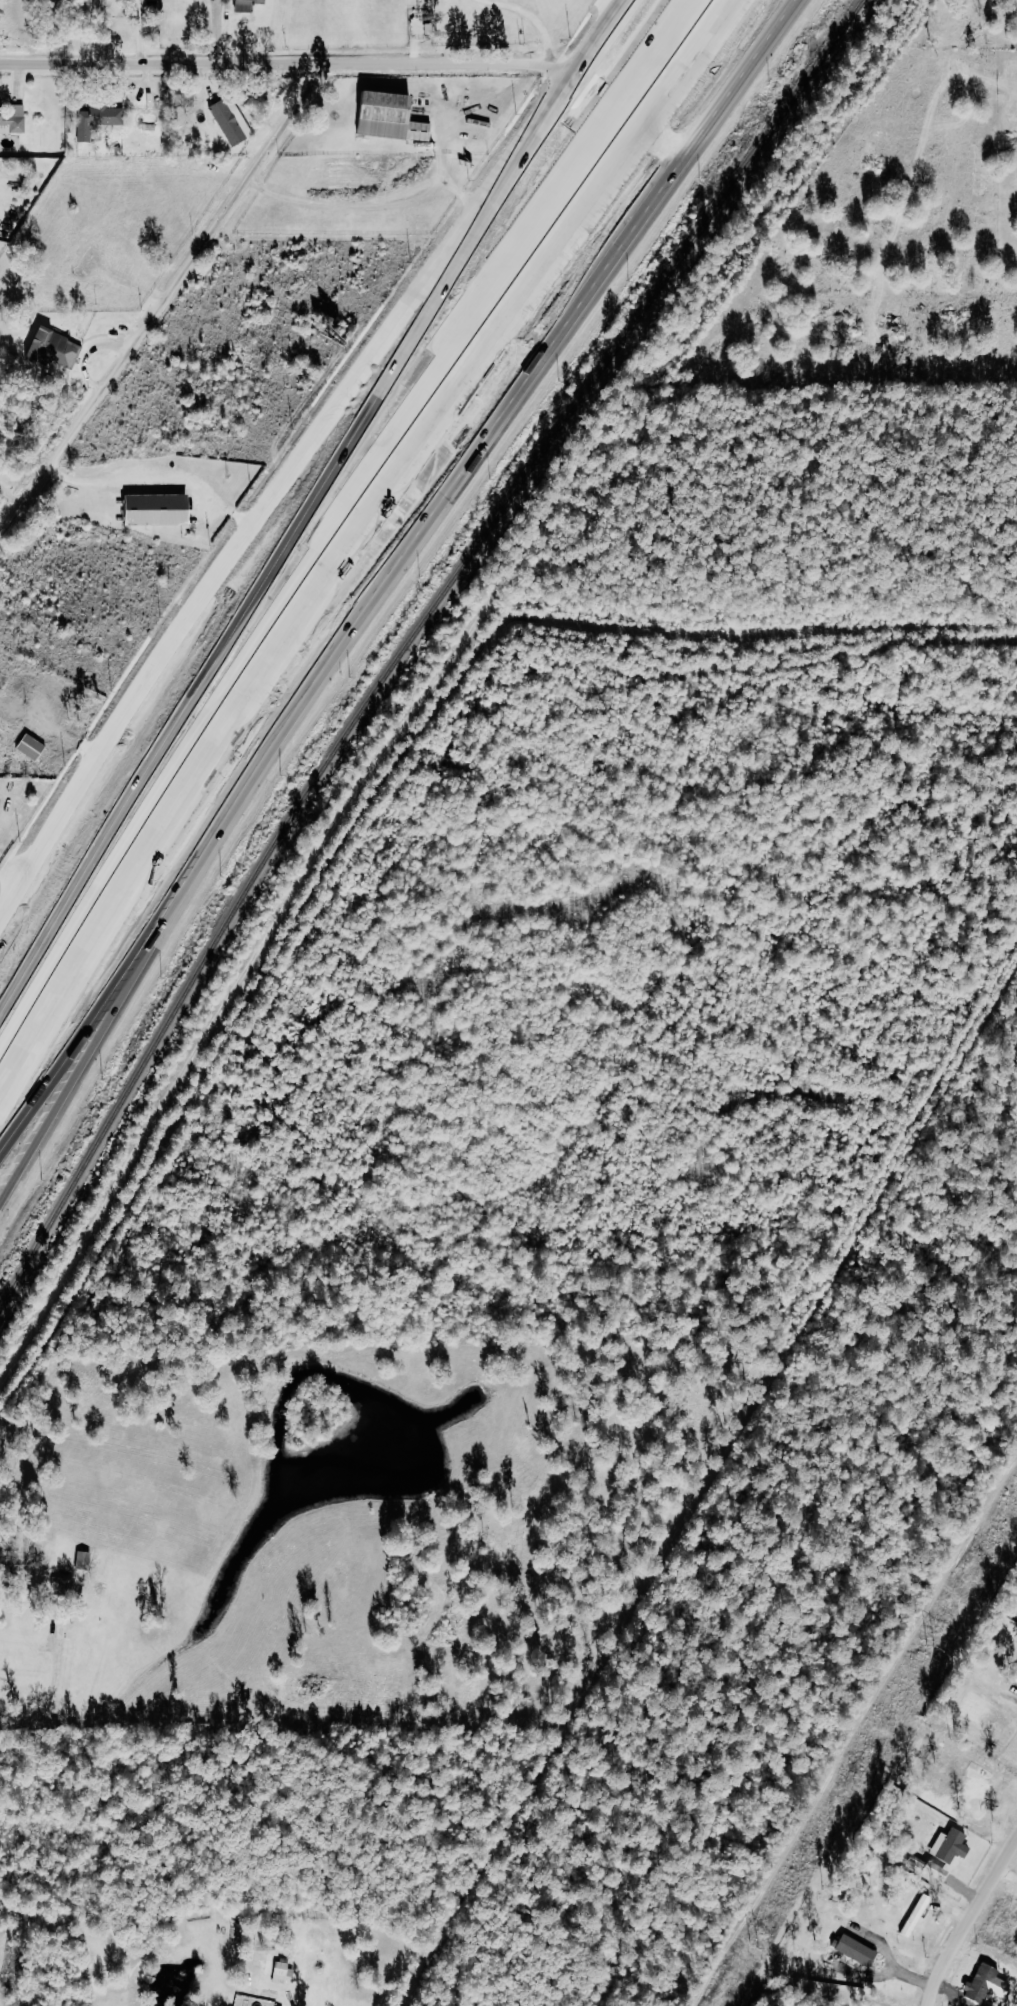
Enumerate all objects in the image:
building: (252, 5)
road: (541, 17)
road: (142, 33)
road: (599, 41)
road: (285, 67)
road: (746, 82)
building: (397, 118)
building: (17, 119)
building: (235, 121)
building: (100, 122)
road: (432, 264)
road: (162, 305)
road: (510, 336)
building: (59, 349)
road: (408, 363)
road: (510, 416)
road: (458, 450)
building: (165, 510)
road: (337, 511)
road: (225, 553)
railway: (410, 641)
building: (36, 748)
road: (75, 786)
building: (2, 804)
road: (12, 862)
road: (133, 894)
road: (161, 936)
building: (65, 1584)
power tower: (928, 1647)
road: (55, 1699)
building: (949, 1846)
building: (934, 1871)
building: (916, 1916)
road: (977, 1935)
power tower: (754, 1949)
building: (854, 1950)
building: (286, 1973)
building: (980, 1983)

